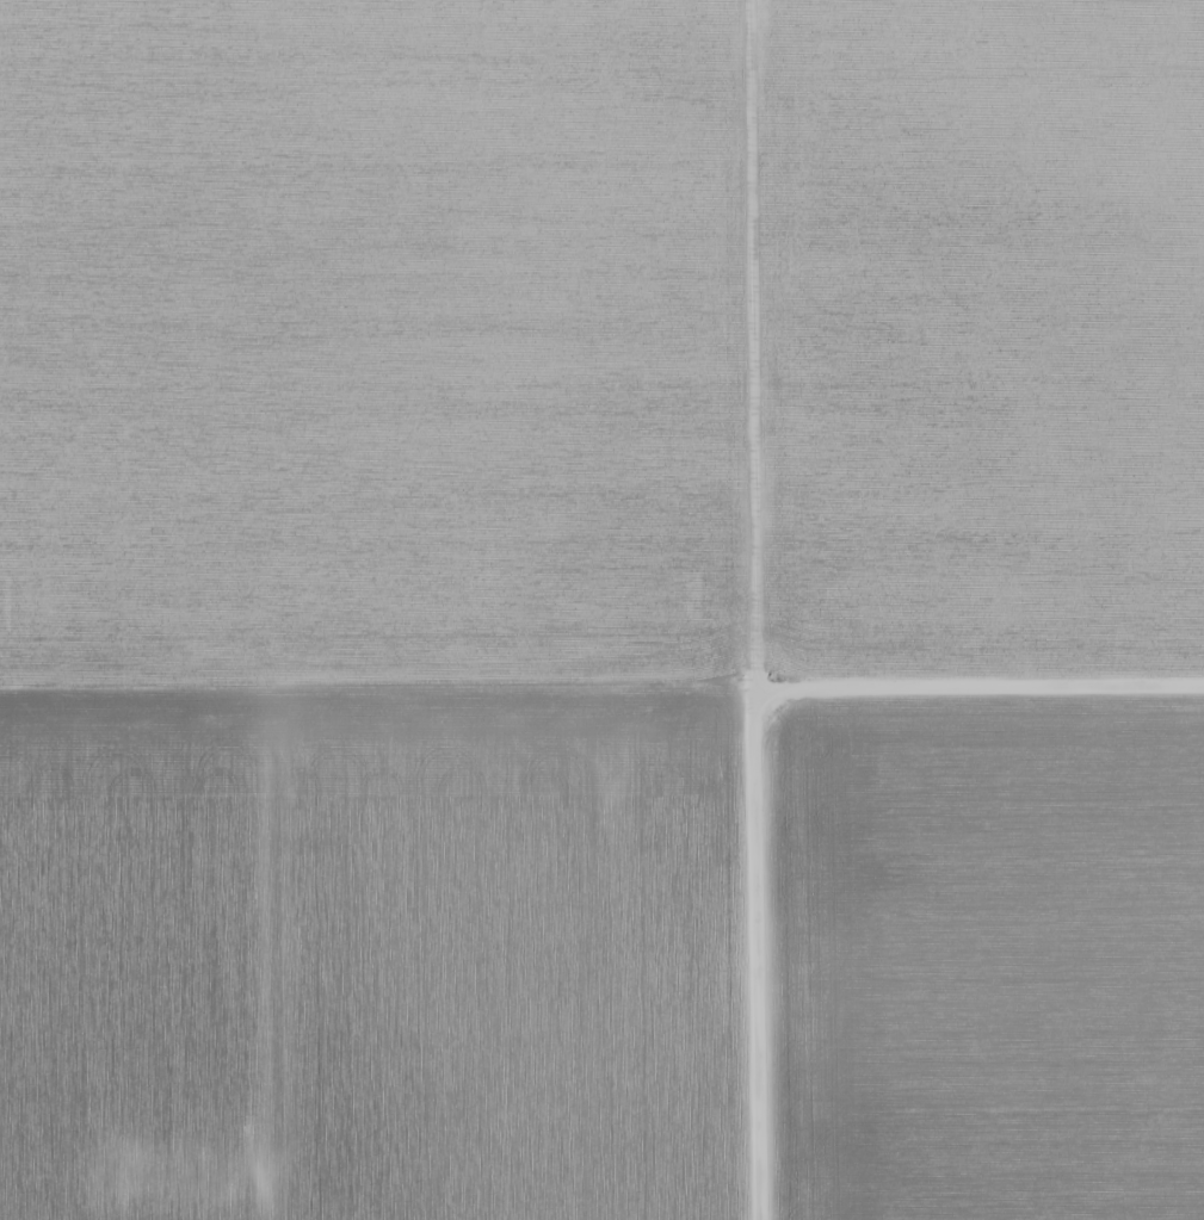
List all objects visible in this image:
road: (641, 664)

